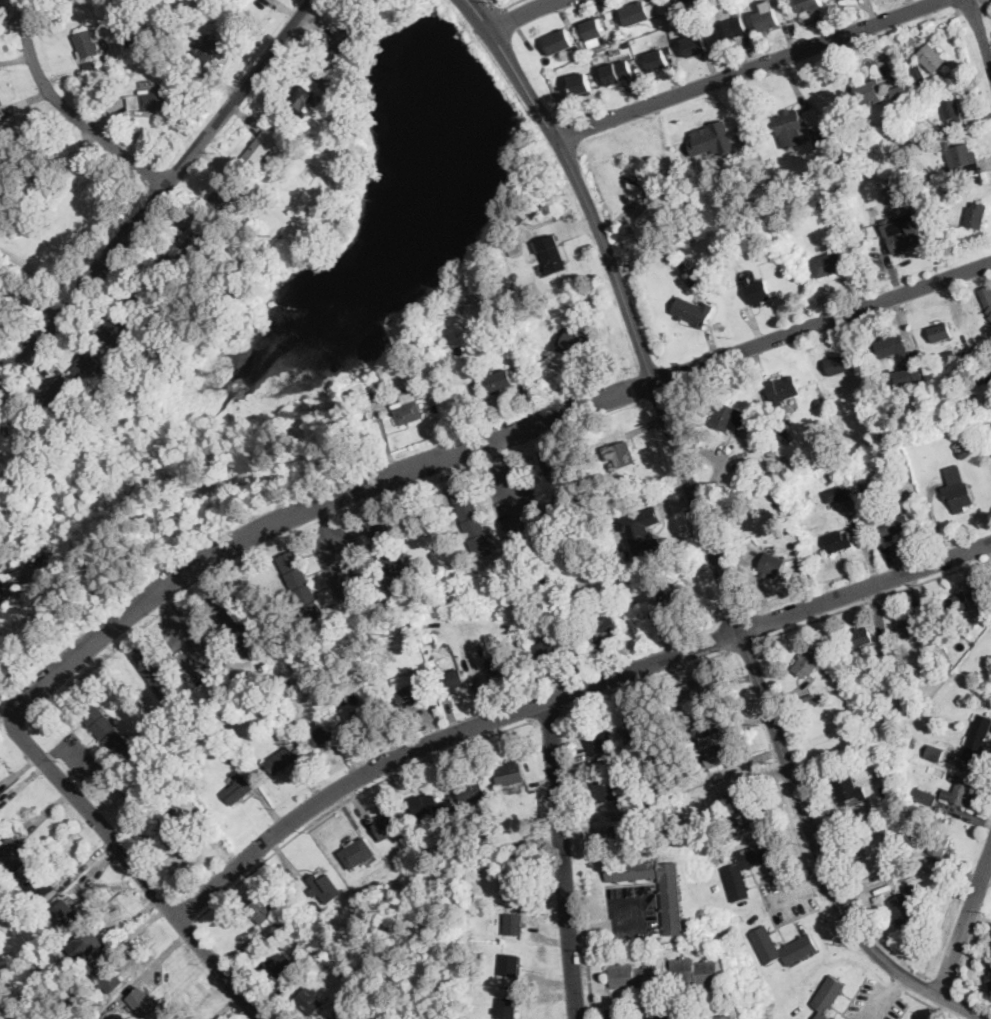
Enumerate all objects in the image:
building: (682, 2)
building: (740, 5)
building: (811, 5)
road: (504, 6)
road: (520, 12)
building: (610, 12)
building: (638, 12)
building: (363, 15)
building: (767, 19)
building: (702, 21)
building: (592, 28)
building: (732, 28)
road: (981, 32)
building: (633, 33)
building: (130, 38)
building: (622, 38)
building: (912, 40)
building: (558, 41)
building: (626, 42)
building: (87, 44)
building: (695, 45)
building: (208, 47)
building: (577, 49)
building: (587, 51)
building: (341, 53)
building: (595, 56)
building: (658, 58)
building: (931, 58)
road: (299, 63)
building: (91, 67)
road: (748, 68)
building: (618, 72)
building: (920, 74)
building: (342, 82)
building: (327, 84)
building: (581, 85)
building: (868, 91)
building: (900, 94)
building: (148, 99)
building: (301, 99)
building: (322, 102)
road: (68, 109)
building: (953, 109)
building: (921, 112)
building: (1, 114)
building: (972, 119)
building: (789, 128)
building: (817, 128)
building: (269, 135)
building: (288, 144)
building: (717, 144)
building: (258, 153)
building: (961, 159)
building: (640, 170)
road: (160, 189)
building: (949, 193)
building: (223, 195)
building: (249, 201)
building: (976, 215)
building: (523, 224)
building: (902, 233)
building: (194, 237)
building: (514, 246)
building: (553, 254)
building: (828, 264)
building: (720, 266)
building: (685, 267)
building: (168, 268)
building: (693, 280)
building: (758, 291)
building: (513, 292)
road: (29, 294)
road: (91, 295)
building: (987, 297)
building: (141, 299)
road: (626, 306)
building: (693, 311)
building: (990, 317)
building: (506, 331)
building: (116, 332)
building: (940, 333)
building: (166, 335)
building: (577, 344)
building: (892, 346)
building: (986, 351)
building: (950, 353)
building: (963, 358)
building: (839, 364)
building: (85, 365)
building: (905, 377)
building: (498, 380)
building: (865, 385)
building: (782, 390)
building: (57, 393)
building: (357, 400)
building: (408, 407)
building: (729, 417)
building: (17, 428)
building: (782, 429)
road: (476, 445)
building: (964, 449)
building: (623, 454)
building: (990, 454)
building: (770, 459)
building: (611, 464)
road: (508, 484)
building: (883, 486)
building: (763, 487)
building: (957, 488)
building: (564, 490)
building: (808, 493)
building: (841, 495)
building: (471, 520)
building: (894, 526)
building: (642, 529)
building: (839, 541)
road: (335, 548)
building: (389, 550)
building: (772, 565)
building: (302, 587)
road: (866, 587)
building: (979, 594)
road: (874, 599)
building: (674, 600)
building: (959, 603)
building: (250, 607)
building: (648, 617)
building: (234, 621)
building: (976, 621)
building: (914, 623)
building: (605, 626)
road: (186, 631)
building: (650, 633)
building: (861, 637)
road: (743, 645)
building: (547, 649)
building: (432, 661)
building: (938, 661)
building: (498, 663)
building: (807, 663)
road: (644, 667)
building: (158, 678)
building: (452, 680)
road: (647, 680)
building: (842, 684)
building: (694, 690)
building: (863, 690)
building: (408, 695)
building: (808, 702)
building: (855, 712)
building: (365, 714)
road: (550, 715)
building: (706, 724)
building: (293, 726)
building: (636, 728)
building: (110, 734)
building: (319, 734)
building: (978, 739)
building: (864, 741)
building: (600, 742)
building: (732, 748)
building: (928, 750)
road: (55, 751)
building: (717, 756)
building: (234, 758)
road: (82, 759)
building: (282, 760)
building: (968, 766)
building: (509, 773)
building: (631, 774)
road: (346, 784)
road: (86, 786)
building: (604, 788)
building: (888, 789)
building: (239, 790)
building: (848, 790)
building: (960, 790)
building: (471, 791)
building: (924, 796)
road: (352, 797)
building: (545, 802)
building: (425, 804)
building: (172, 805)
building: (746, 811)
building: (165, 814)
building: (440, 816)
building: (389, 825)
building: (2, 829)
building: (632, 836)
building: (913, 837)
building: (177, 842)
building: (445, 842)
building: (939, 845)
building: (523, 847)
building: (395, 850)
building: (357, 853)
building: (16, 855)
road: (821, 859)
road: (561, 860)
road: (135, 867)
building: (733, 871)
building: (906, 874)
building: (15, 875)
building: (386, 880)
building: (512, 884)
building: (40, 885)
building: (380, 885)
building: (324, 886)
power tower: (128, 888)
road: (801, 892)
building: (879, 897)
building: (672, 900)
building: (906, 907)
building: (312, 908)
building: (261, 909)
building: (66, 913)
building: (514, 924)
road: (644, 924)
road: (965, 924)
road: (593, 929)
building: (84, 944)
building: (800, 947)
building: (509, 963)
building: (281, 966)
building: (695, 970)
building: (104, 971)
building: (634, 977)
building: (989, 978)
road: (590, 984)
building: (828, 997)
road: (887, 997)
building: (309, 1000)
building: (141, 1002)
building: (506, 1008)
building: (723, 1016)
road: (979, 1016)
road: (594, 1018)

